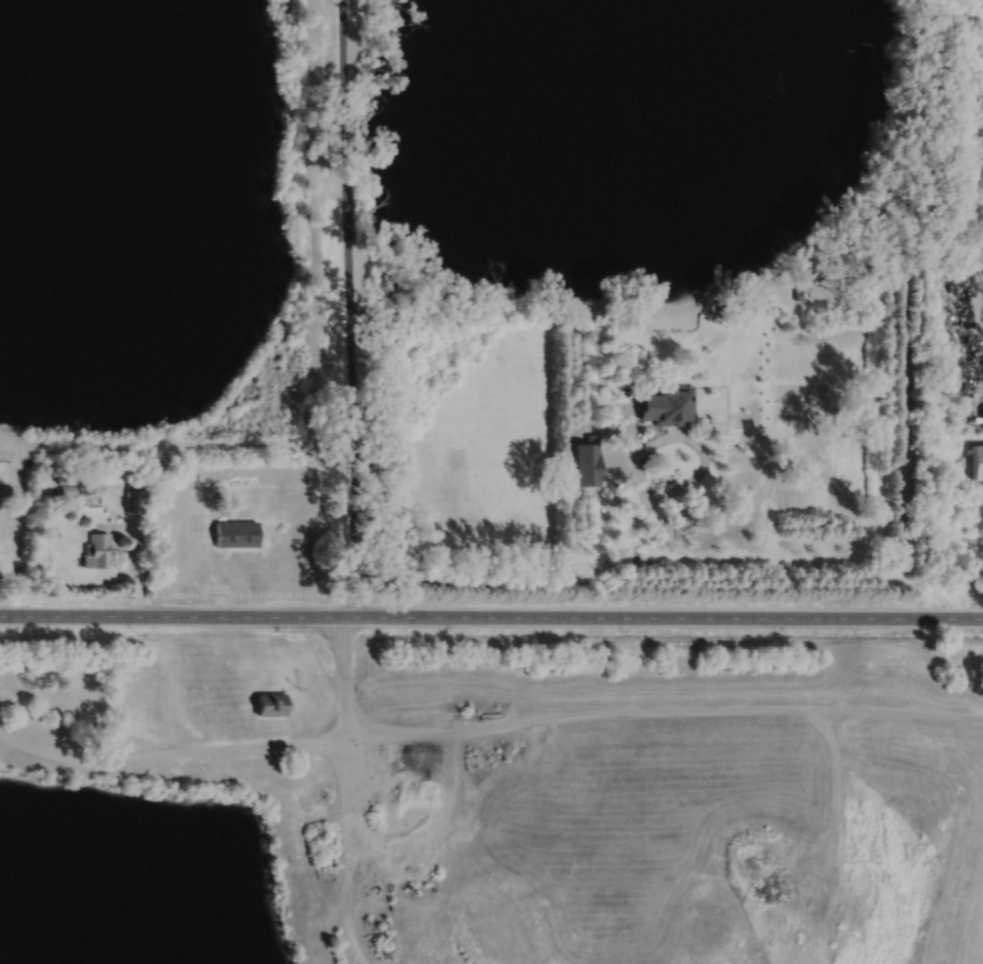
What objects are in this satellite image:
road: (346, 257)
building: (795, 293)
building: (848, 310)
park: (802, 359)
park: (801, 401)
road: (975, 402)
building: (668, 406)
road: (703, 454)
building: (976, 462)
building: (63, 478)
building: (129, 487)
building: (66, 490)
building: (133, 501)
building: (235, 534)
building: (95, 550)
road: (138, 568)
road: (507, 583)
road: (491, 616)
building: (270, 702)
road: (630, 711)
road: (893, 711)
road: (171, 751)
building: (325, 830)
road: (347, 853)

